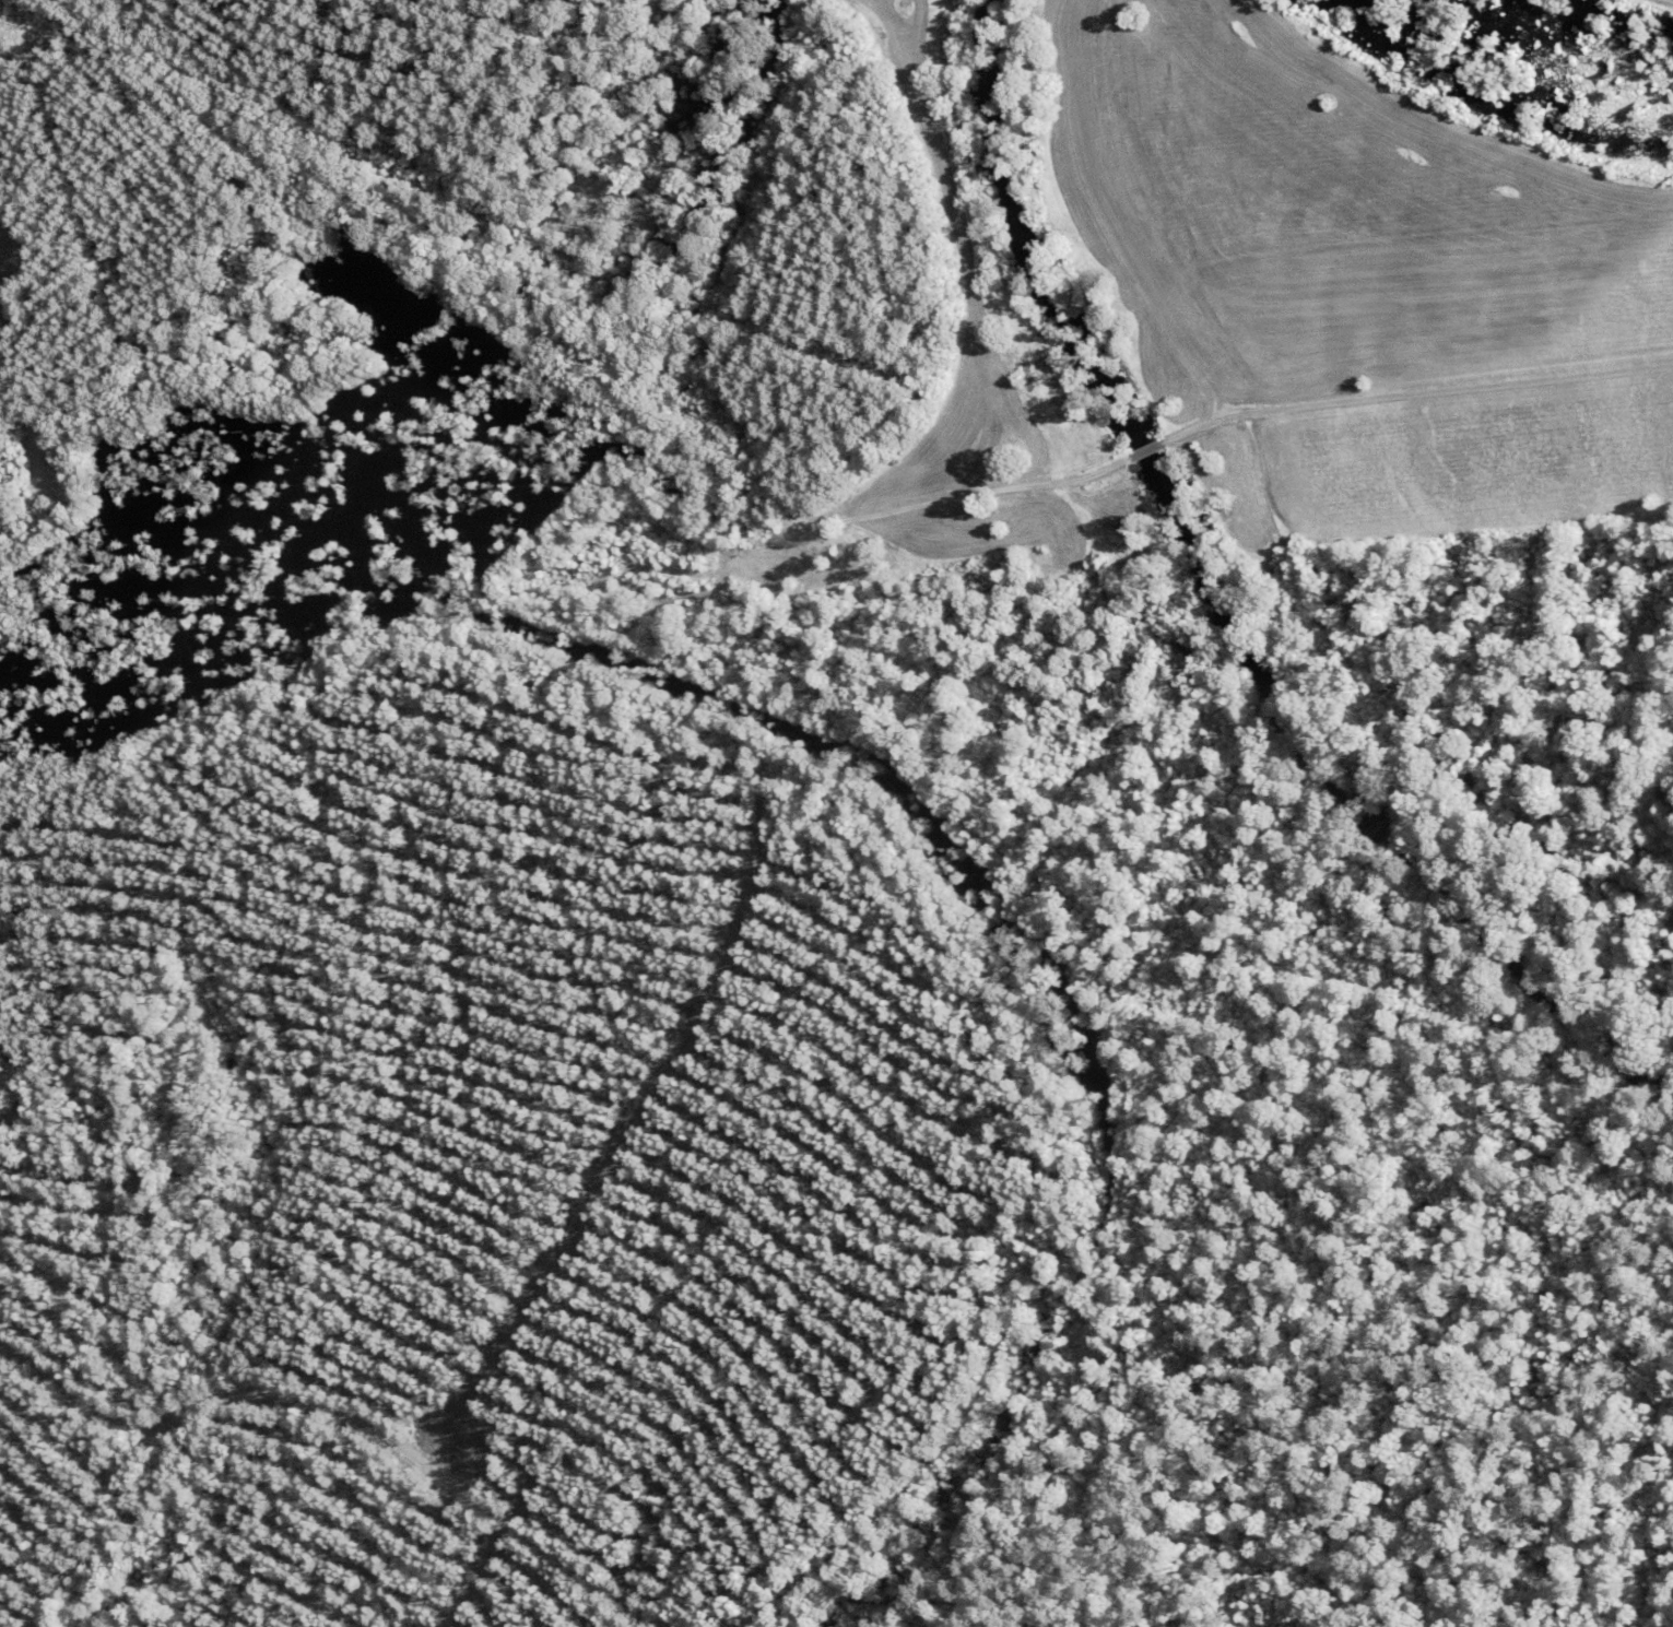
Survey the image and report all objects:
road: (899, 626)

